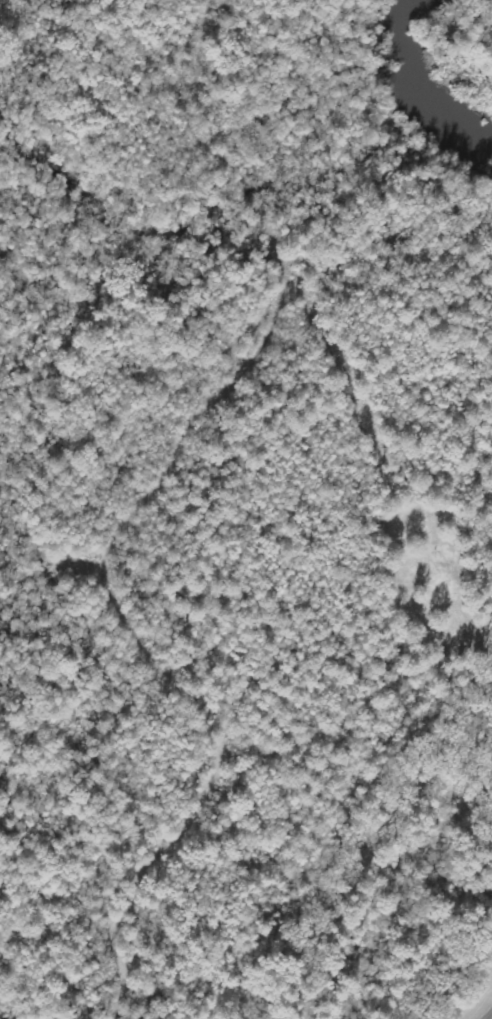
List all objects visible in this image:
river: (431, 79)

